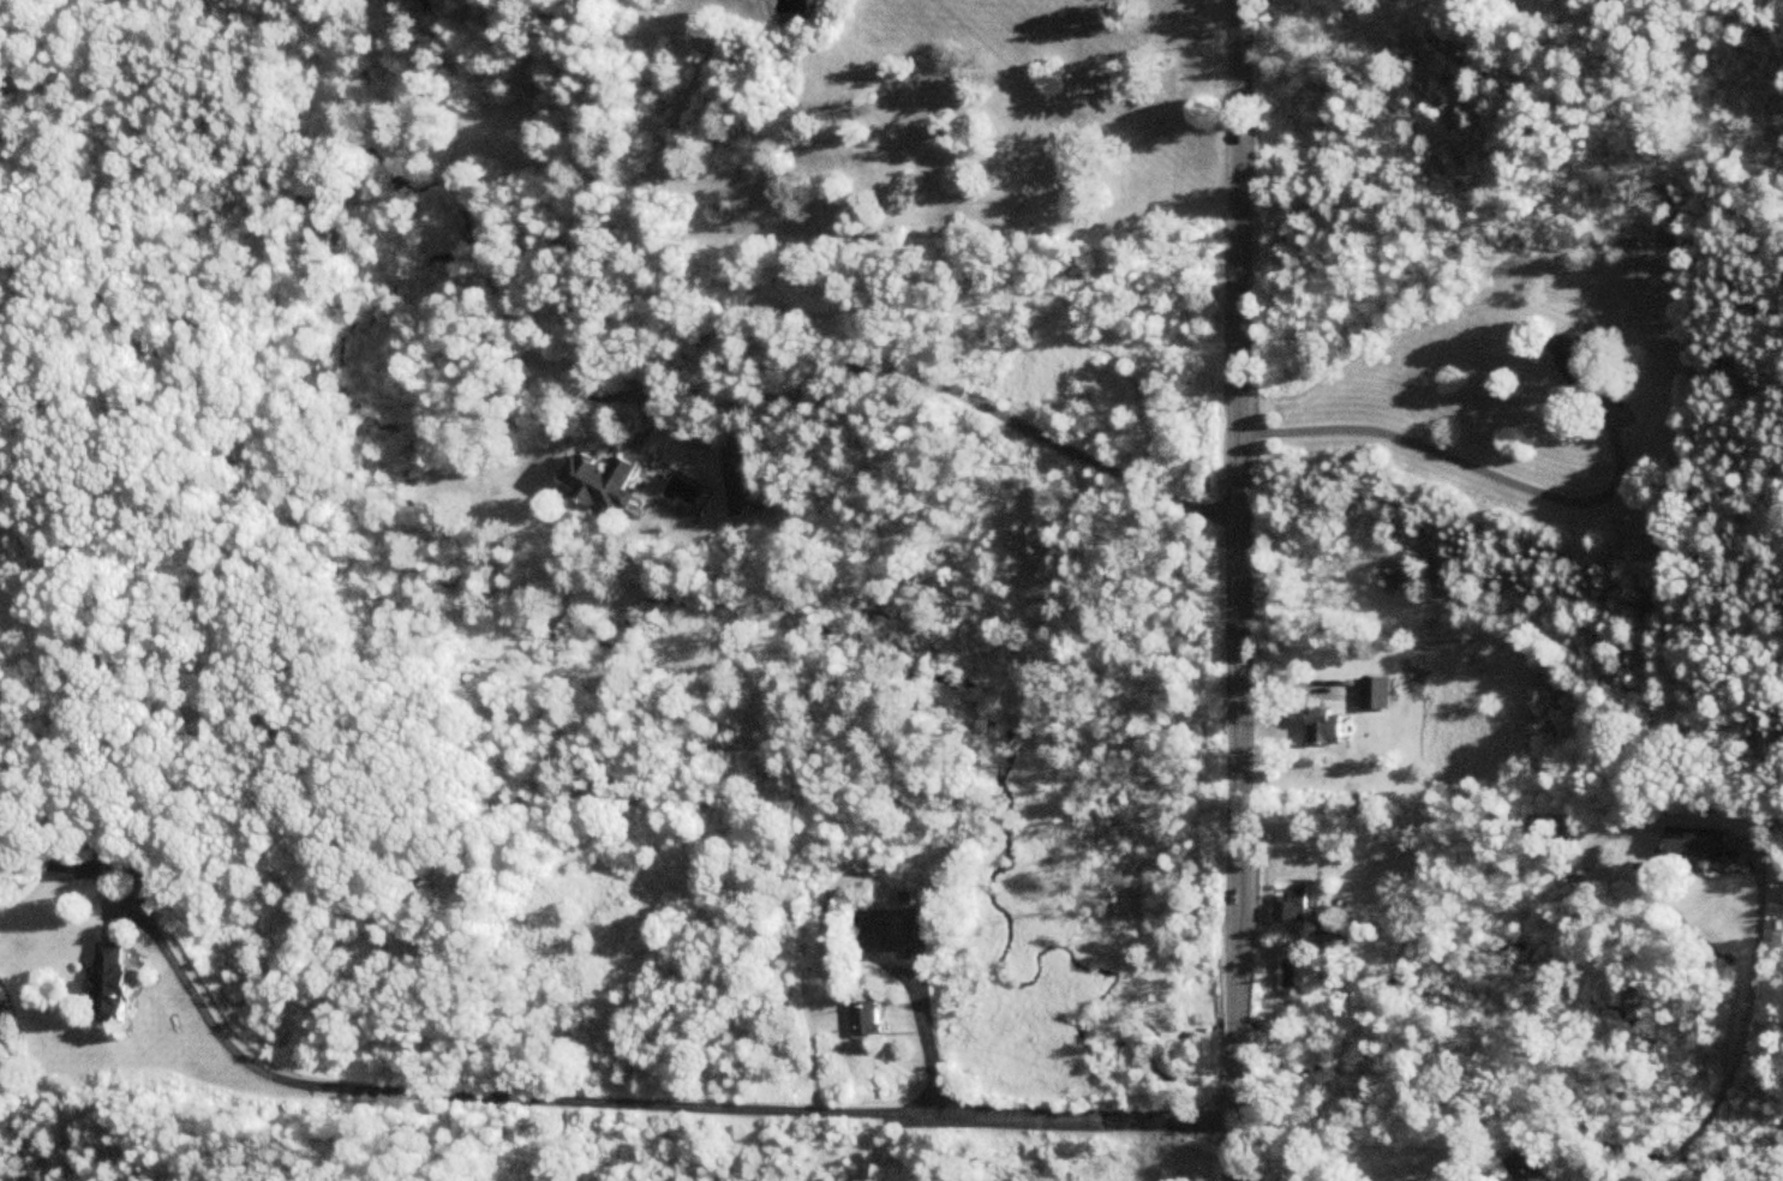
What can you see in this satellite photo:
building: (1580, 359)
road: (976, 403)
road: (1466, 467)
building: (600, 484)
building: (743, 490)
road: (1237, 590)
building: (1374, 696)
building: (1323, 730)
building: (1693, 846)
building: (76, 868)
building: (1291, 910)
building: (1323, 919)
parking lot: (888, 939)
building: (107, 985)
building: (867, 1020)
road: (1740, 1033)
road: (498, 1096)
road: (992, 1115)
building: (1524, 1169)

